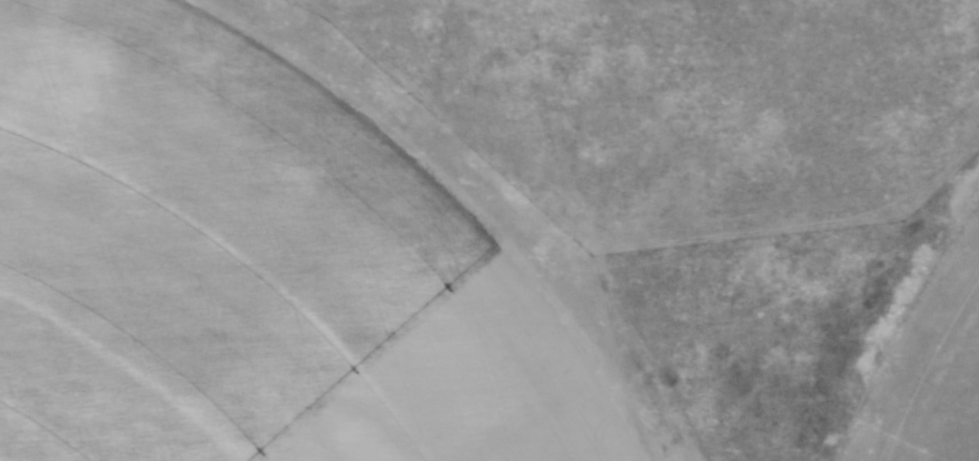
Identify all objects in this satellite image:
crop: (243, 268)
crop: (931, 372)

